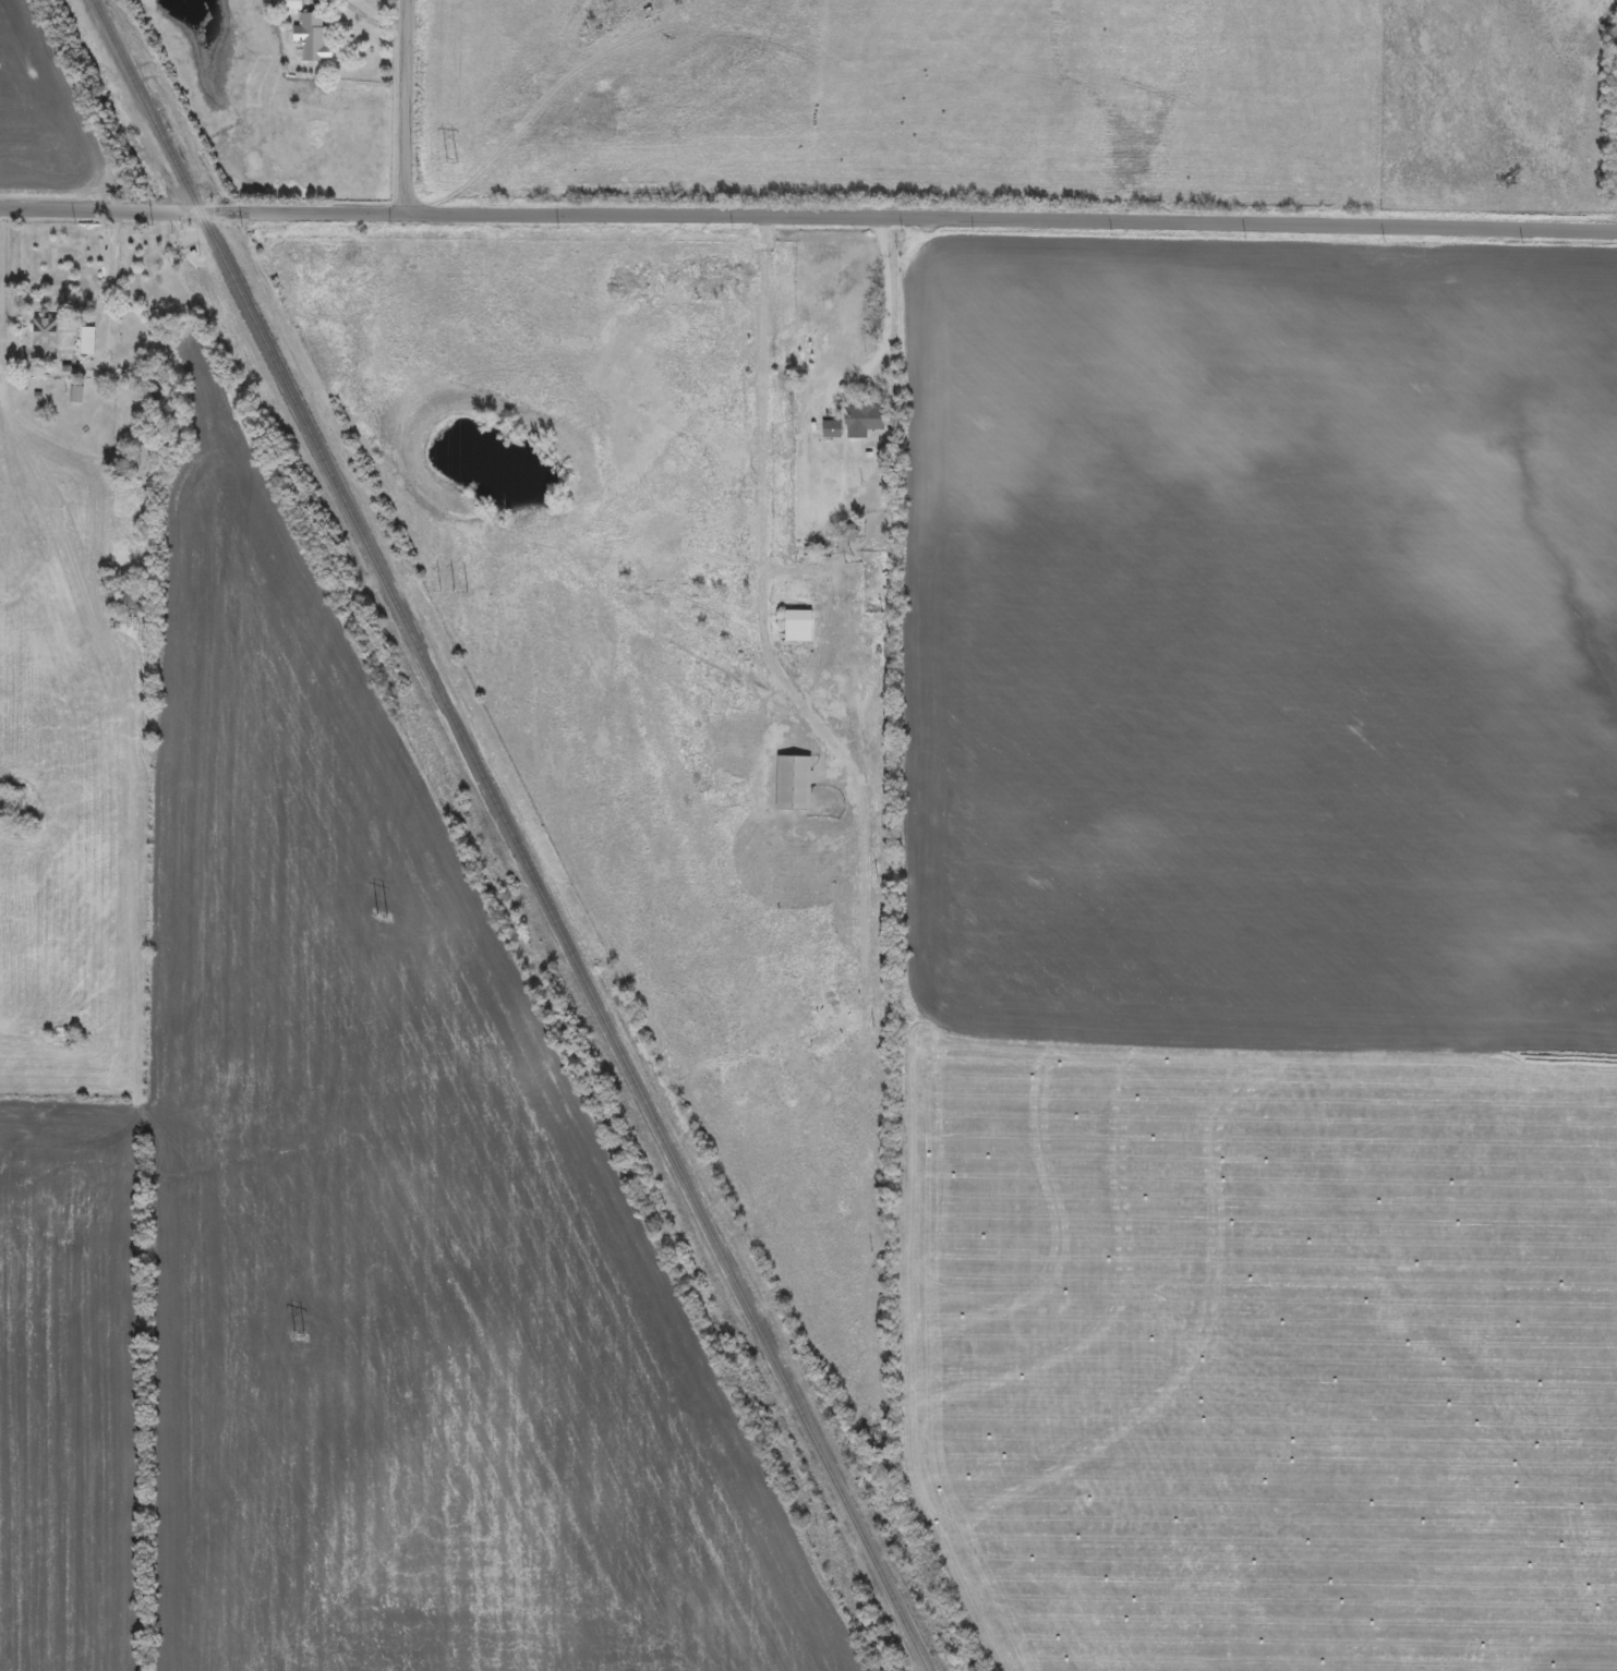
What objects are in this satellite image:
building: (289, 8)
road: (362, 22)
building: (311, 40)
road: (403, 110)
power tower: (459, 167)
road: (808, 223)
road: (108, 280)
road: (888, 319)
building: (45, 338)
building: (86, 346)
building: (862, 423)
building: (831, 433)
road: (760, 566)
road: (794, 573)
power tower: (454, 593)
building: (796, 628)
railway: (509, 835)
power tower: (385, 918)
power tower: (304, 1335)

